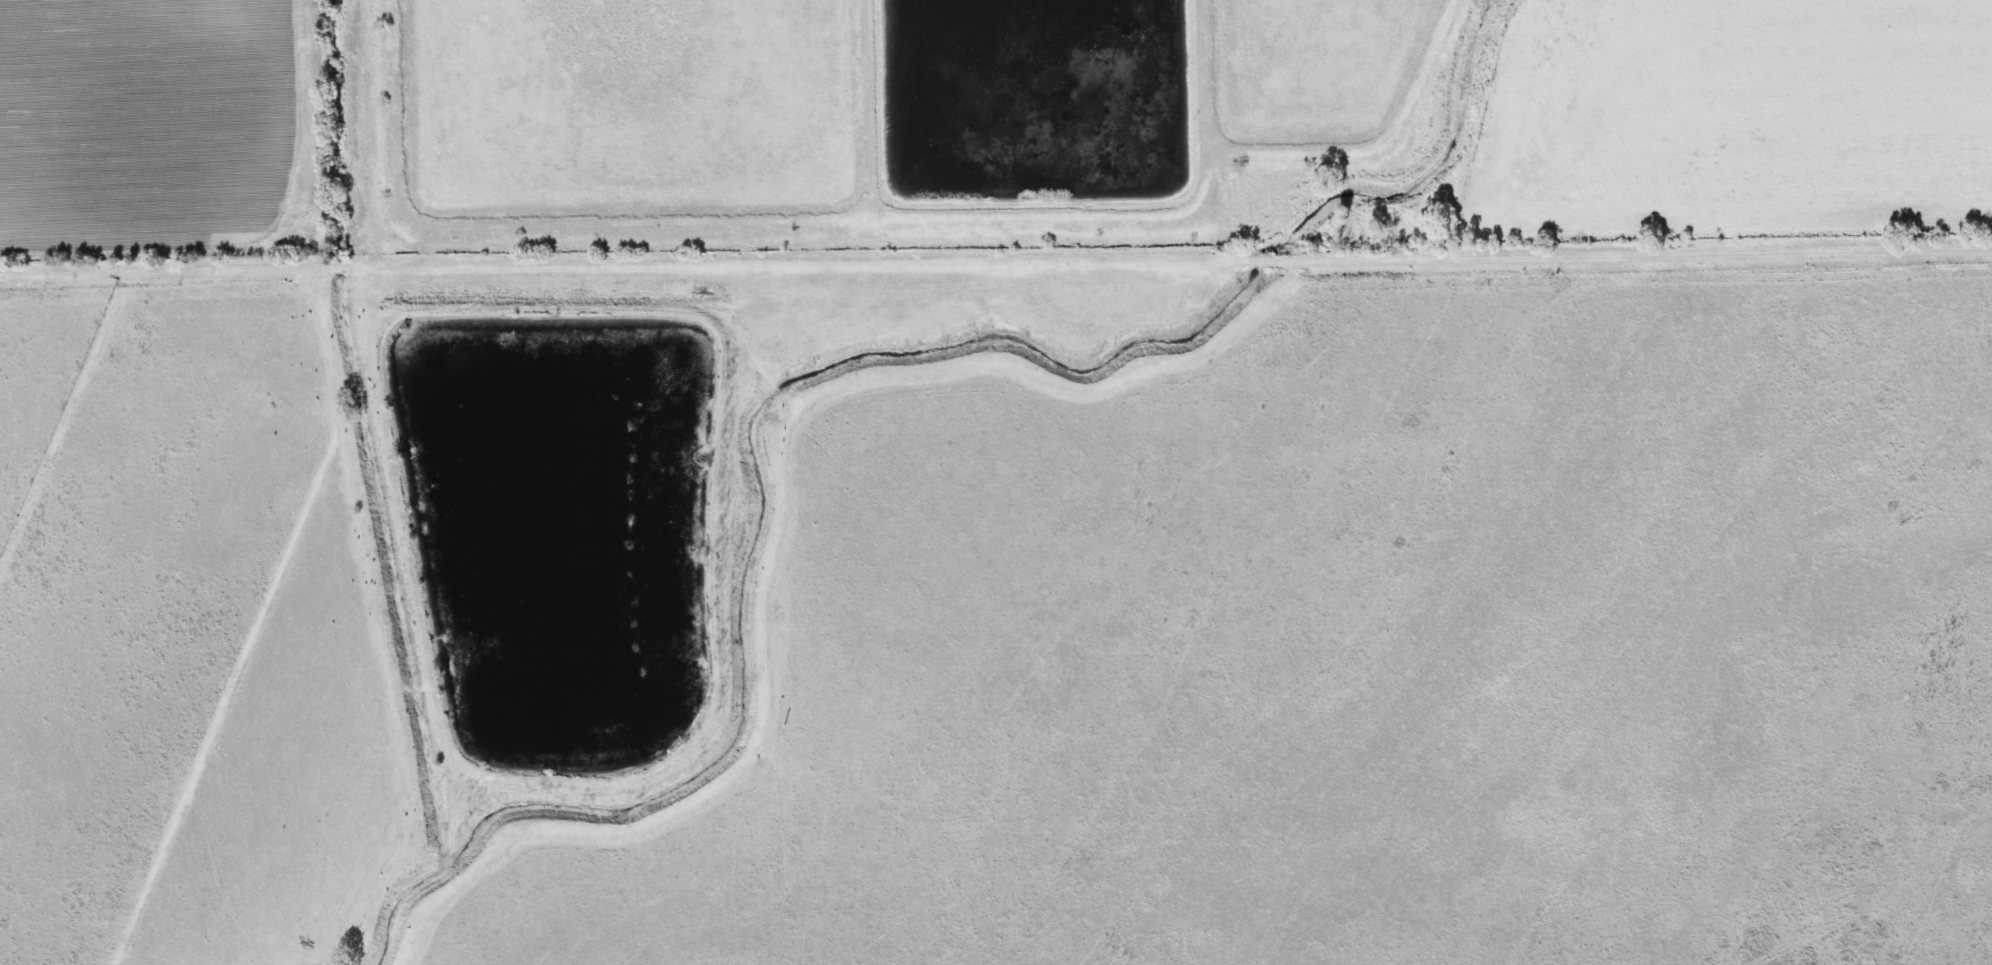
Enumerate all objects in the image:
road: (1022, 262)

